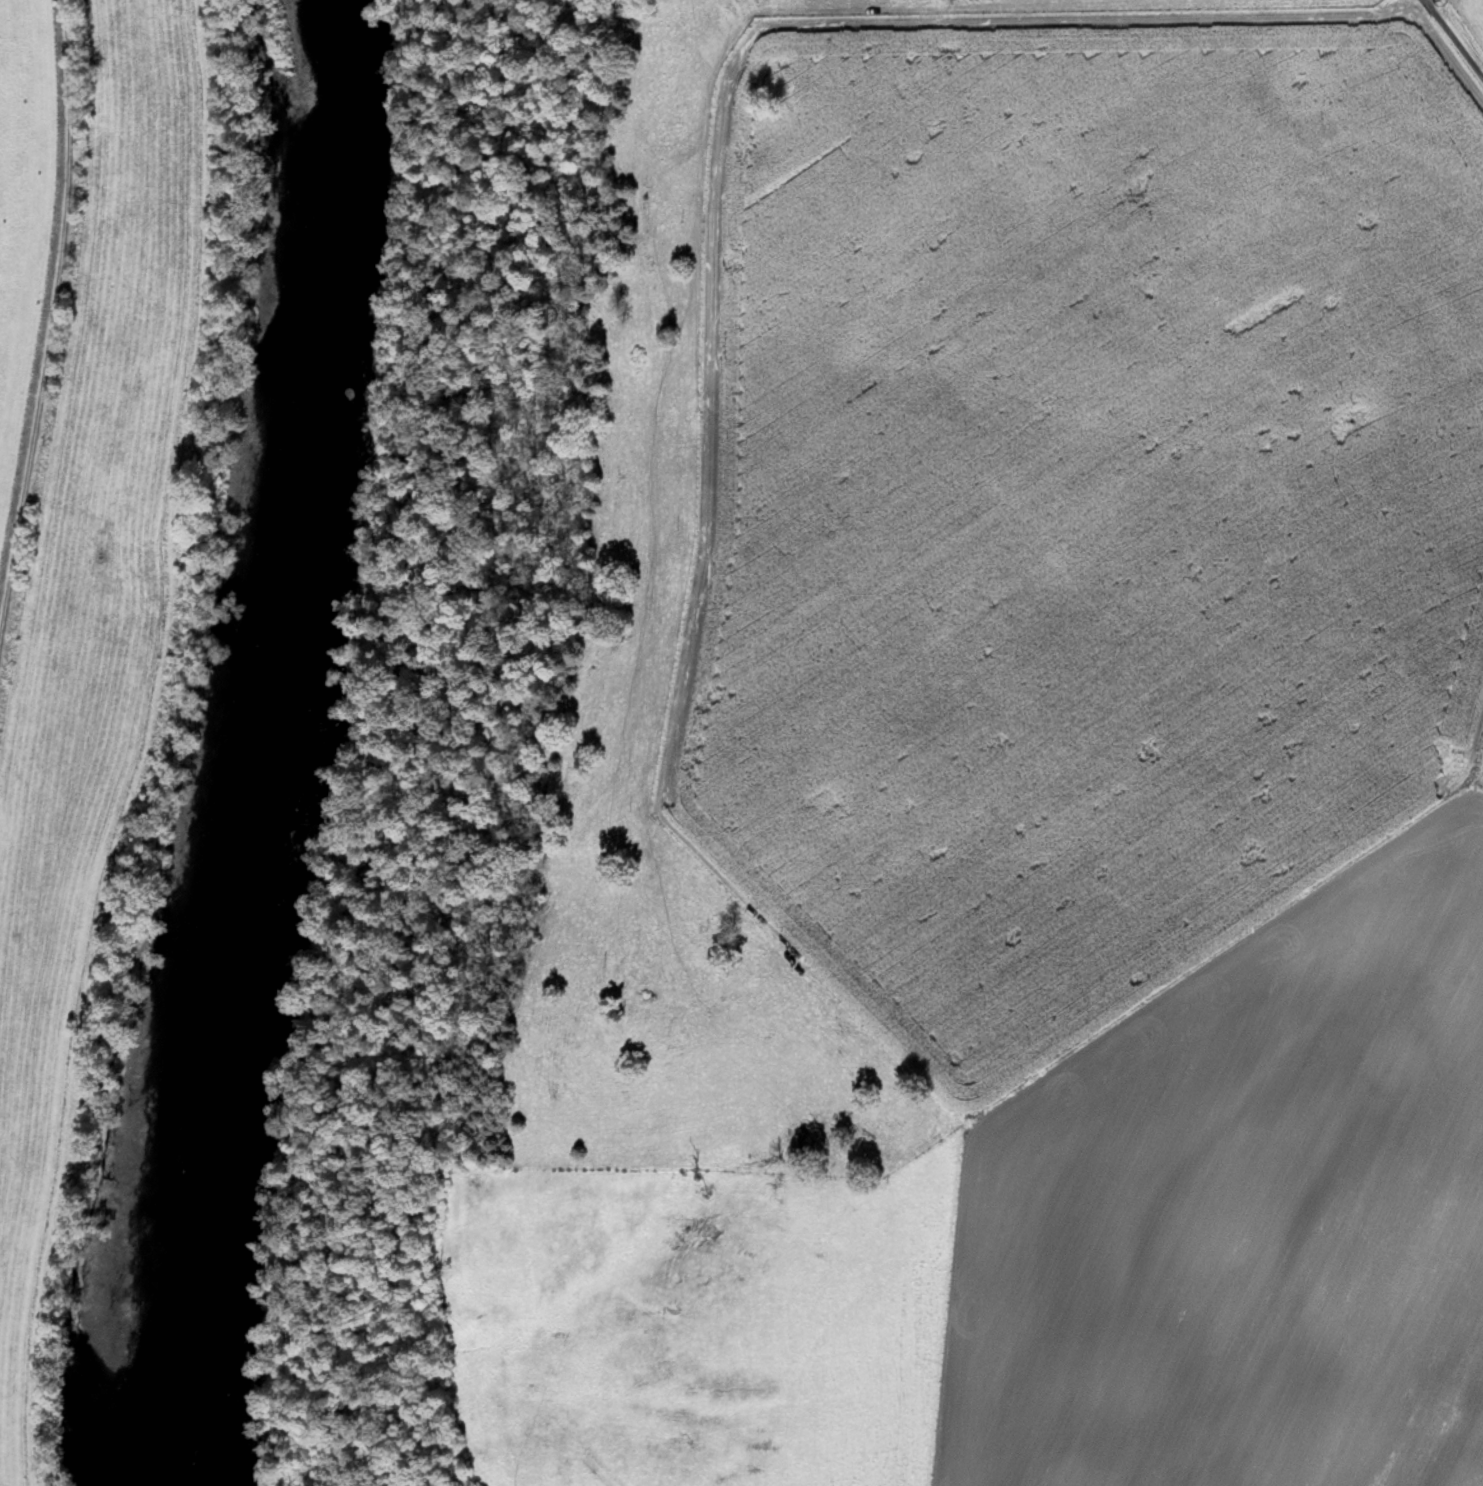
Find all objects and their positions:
road: (51, 311)
road: (670, 475)
river: (268, 746)
building: (643, 998)
river: (152, 1433)

